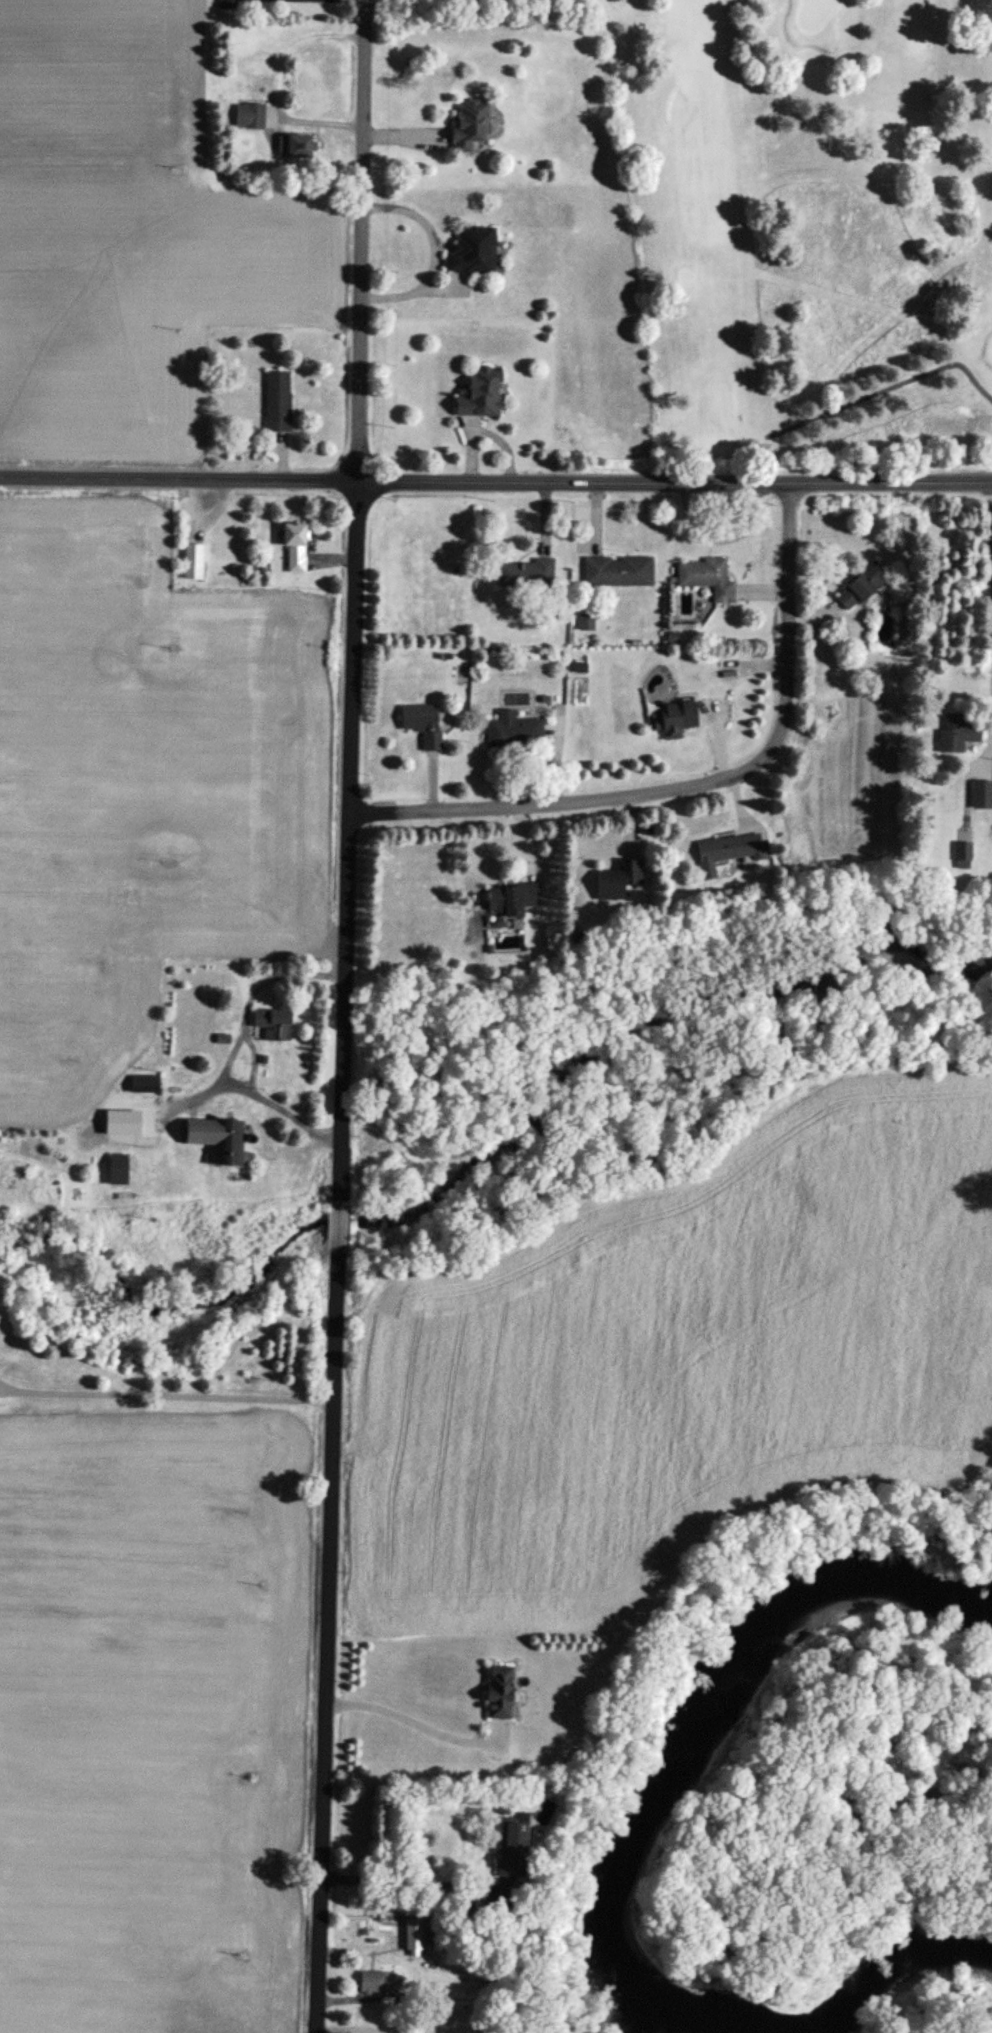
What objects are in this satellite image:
building: (227, 5)
building: (249, 116)
building: (469, 125)
building: (295, 148)
park: (817, 224)
building: (471, 251)
building: (478, 394)
building: (277, 401)
road: (496, 482)
road: (990, 532)
building: (292, 543)
building: (192, 562)
building: (616, 572)
building: (524, 573)
building: (706, 578)
building: (860, 586)
building: (674, 719)
building: (421, 723)
building: (512, 730)
building: (955, 734)
road: (701, 786)
building: (981, 794)
building: (727, 849)
building: (961, 852)
building: (615, 880)
building: (508, 899)
road: (345, 1016)
building: (271, 1025)
road: (249, 1044)
building: (143, 1085)
building: (117, 1126)
building: (213, 1140)
building: (115, 1169)
road: (167, 1396)
building: (496, 1691)
road: (411, 1722)
river: (690, 1736)
building: (508, 1844)
road: (406, 1882)
river: (887, 1975)
building: (379, 1982)
road: (351, 2030)

